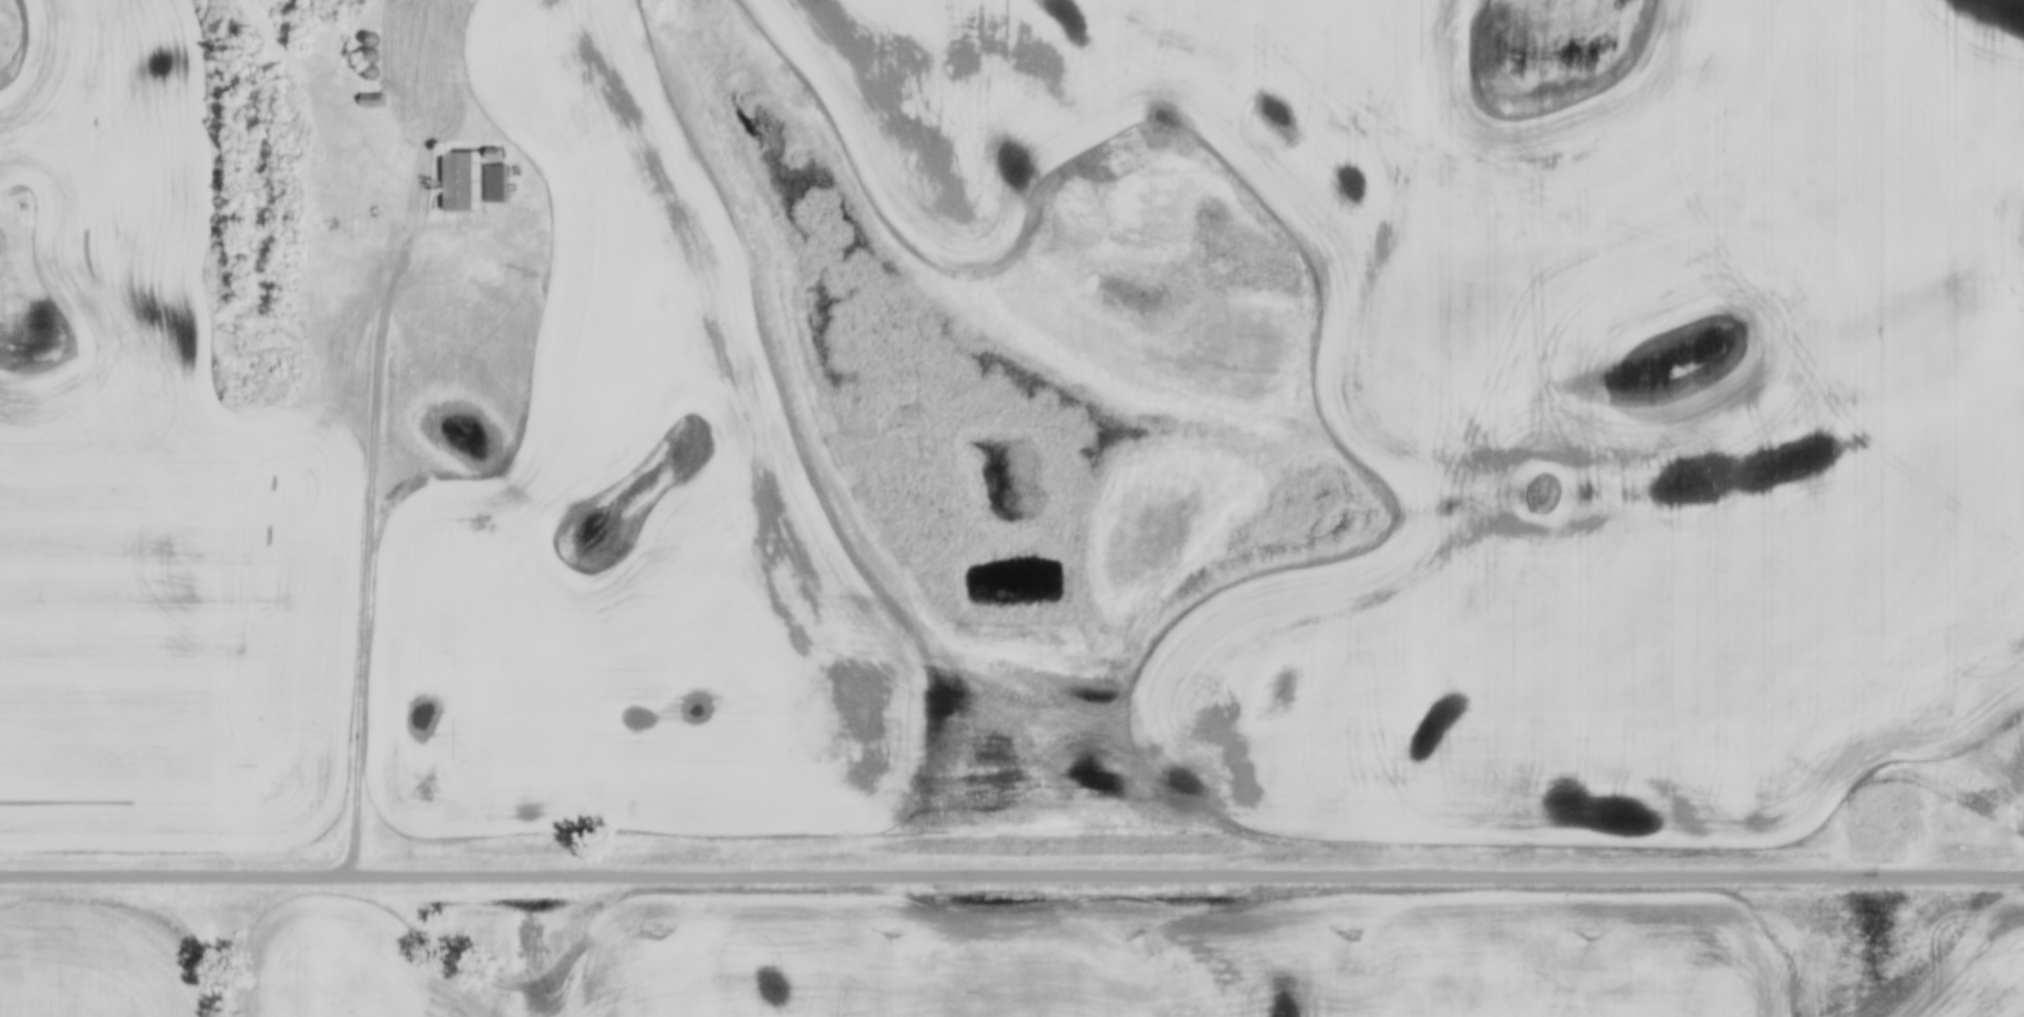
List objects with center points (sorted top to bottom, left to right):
building: (376, 101)
building: (498, 155)
building: (464, 182)
building: (500, 183)
road: (371, 503)
road: (1011, 874)

